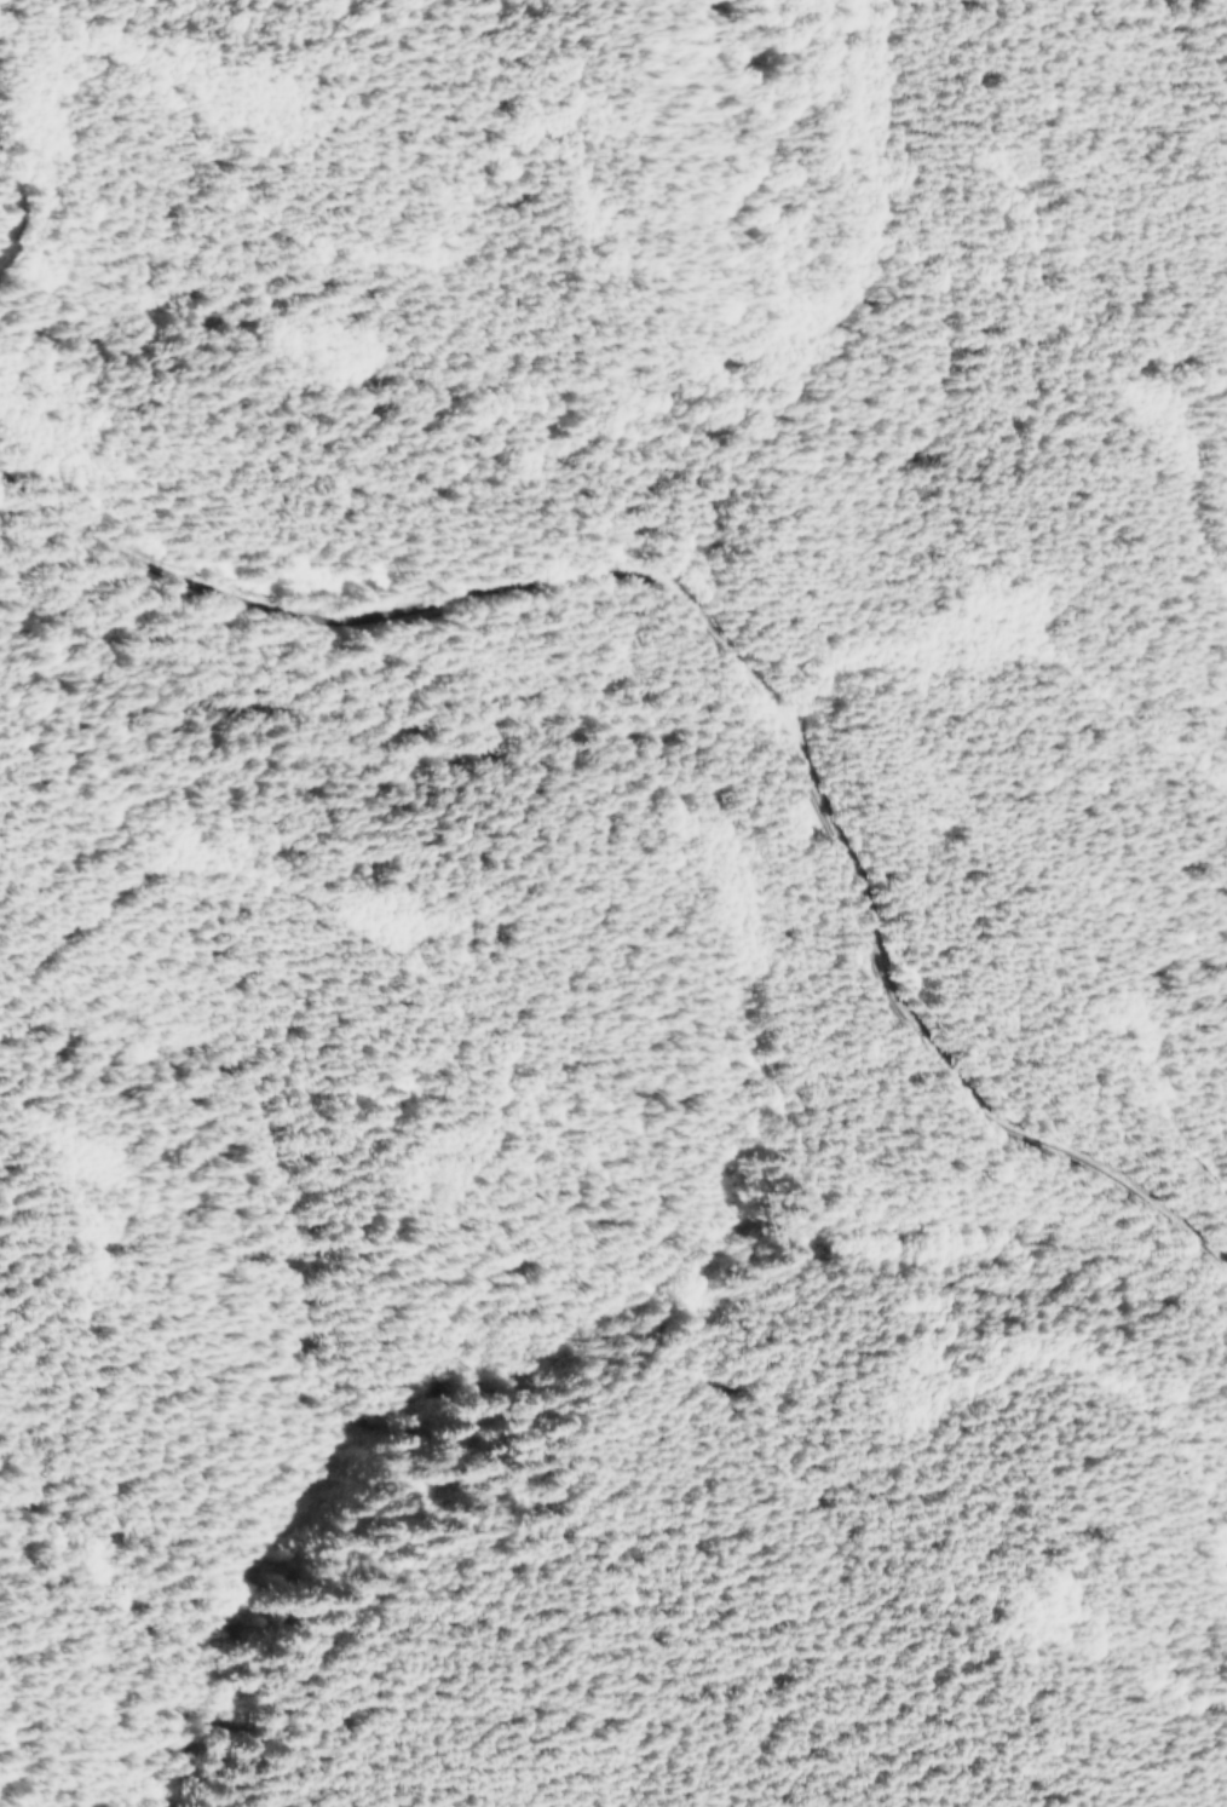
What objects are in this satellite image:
road: (709, 777)

